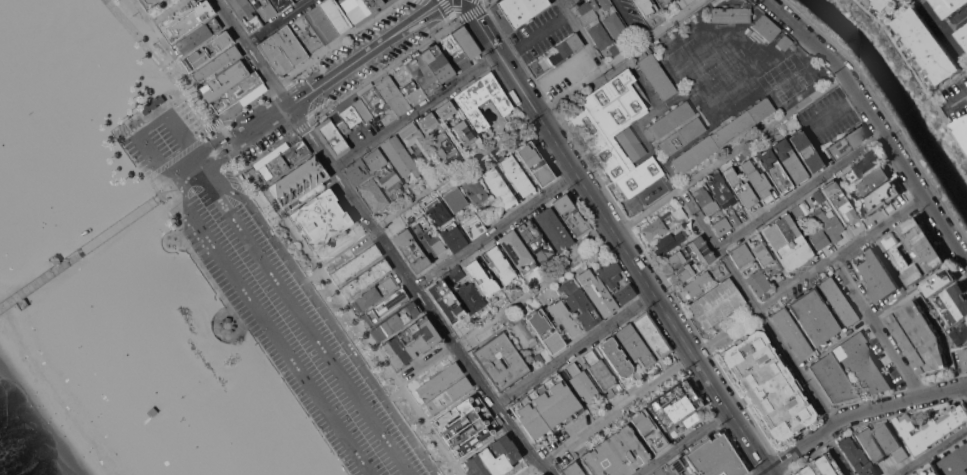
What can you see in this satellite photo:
building: (295, 0)
road: (480, 0)
road: (482, 0)
building: (684, 1)
building: (663, 2)
building: (148, 3)
building: (281, 3)
building: (372, 4)
road: (561, 4)
building: (604, 4)
building: (885, 4)
building: (646, 7)
building: (951, 7)
building: (264, 8)
building: (354, 9)
road: (456, 9)
road: (167, 11)
building: (587, 11)
building: (518, 12)
building: (246, 14)
building: (731, 15)
road: (460, 16)
road: (628, 19)
building: (187, 20)
building: (327, 20)
road: (278, 22)
road: (956, 22)
building: (615, 25)
building: (766, 27)
road: (944, 29)
road: (541, 31)
road: (137, 34)
building: (599, 35)
building: (963, 35)
building: (198, 36)
road: (583, 38)
road: (339, 40)
building: (466, 42)
building: (783, 42)
building: (290, 45)
building: (928, 45)
building: (566, 48)
building: (207, 50)
building: (614, 50)
road: (251, 52)
building: (454, 52)
road: (365, 53)
building: (275, 55)
building: (437, 62)
building: (215, 64)
road: (180, 65)
road: (384, 68)
building: (73, 73)
building: (422, 73)
road: (914, 73)
building: (656, 75)
road: (699, 80)
building: (224, 81)
road: (275, 86)
building: (239, 92)
building: (412, 93)
building: (392, 95)
road: (194, 96)
building: (372, 99)
road: (960, 99)
building: (482, 100)
road: (189, 104)
road: (242, 106)
building: (616, 107)
building: (445, 108)
road: (947, 108)
road: (305, 109)
road: (416, 112)
building: (350, 113)
road: (536, 113)
road: (831, 113)
road: (540, 116)
building: (671, 120)
building: (426, 121)
road: (259, 122)
road: (151, 123)
road: (874, 123)
road: (212, 126)
building: (964, 127)
road: (221, 128)
building: (464, 134)
road: (203, 135)
road: (227, 135)
building: (681, 136)
building: (722, 136)
building: (332, 137)
building: (413, 137)
building: (631, 143)
building: (846, 143)
road: (211, 145)
road: (234, 145)
building: (443, 145)
road: (190, 147)
road: (269, 147)
building: (806, 151)
road: (218, 153)
road: (729, 153)
road: (206, 156)
building: (614, 156)
road: (242, 157)
road: (172, 159)
building: (375, 159)
building: (401, 159)
building: (283, 161)
building: (790, 161)
building: (535, 163)
building: (864, 165)
road: (159, 170)
road: (184, 172)
building: (775, 172)
building: (517, 175)
building: (757, 181)
building: (873, 181)
building: (296, 182)
building: (366, 184)
building: (392, 184)
road: (157, 185)
building: (499, 187)
road: (799, 188)
building: (721, 190)
building: (742, 191)
building: (475, 192)
building: (819, 196)
building: (454, 198)
building: (882, 198)
building: (839, 202)
building: (438, 210)
building: (711, 210)
building: (796, 212)
building: (678, 213)
building: (572, 216)
building: (320, 218)
building: (735, 219)
building: (830, 224)
building: (681, 225)
road: (370, 226)
building: (473, 226)
road: (629, 226)
building: (654, 228)
building: (554, 229)
road: (496, 230)
building: (426, 237)
building: (453, 238)
building: (818, 239)
building: (535, 240)
building: (787, 241)
building: (668, 243)
building: (915, 249)
road: (79, 250)
building: (411, 250)
road: (337, 253)
building: (760, 253)
building: (518, 254)
building: (741, 254)
pier: (75, 255)
building: (674, 258)
building: (53, 260)
building: (356, 264)
building: (501, 265)
building: (454, 274)
road: (807, 275)
building: (877, 275)
building: (482, 277)
building: (366, 278)
building: (614, 279)
building: (758, 282)
building: (940, 282)
building: (698, 283)
road: (535, 289)
building: (598, 291)
building: (376, 292)
building: (470, 298)
building: (896, 298)
parking lot: (270, 300)
building: (447, 301)
building: (838, 301)
building: (579, 303)
building: (716, 303)
building: (954, 304)
building: (385, 306)
road: (757, 306)
road: (327, 314)
building: (563, 317)
building: (814, 317)
road: (354, 318)
road: (302, 319)
building: (395, 321)
building: (226, 324)
road: (878, 326)
road: (270, 328)
building: (545, 330)
building: (962, 330)
building: (522, 332)
building: (791, 333)
building: (651, 334)
building: (920, 337)
building: (410, 342)
building: (635, 346)
road: (575, 348)
road: (693, 354)
building: (964, 357)
building: (616, 358)
road: (430, 361)
building: (489, 362)
building: (823, 367)
building: (598, 369)
road: (402, 378)
building: (439, 381)
building: (582, 384)
building: (768, 385)
road: (965, 387)
road: (394, 393)
building: (448, 394)
building: (545, 407)
road: (616, 408)
building: (677, 408)
road: (501, 411)
road: (858, 413)
building: (466, 425)
building: (930, 428)
building: (158, 430)
building: (648, 430)
building: (891, 441)
road: (684, 442)
building: (871, 445)
road: (932, 452)
road: (837, 453)
building: (616, 454)
building: (715, 457)
building: (856, 457)
building: (493, 458)
building: (956, 462)
building: (819, 466)
building: (675, 467)
road: (528, 468)
building: (931, 469)
building: (572, 470)
building: (917, 473)
building: (541, 474)
building: (657, 474)
building: (689, 474)

